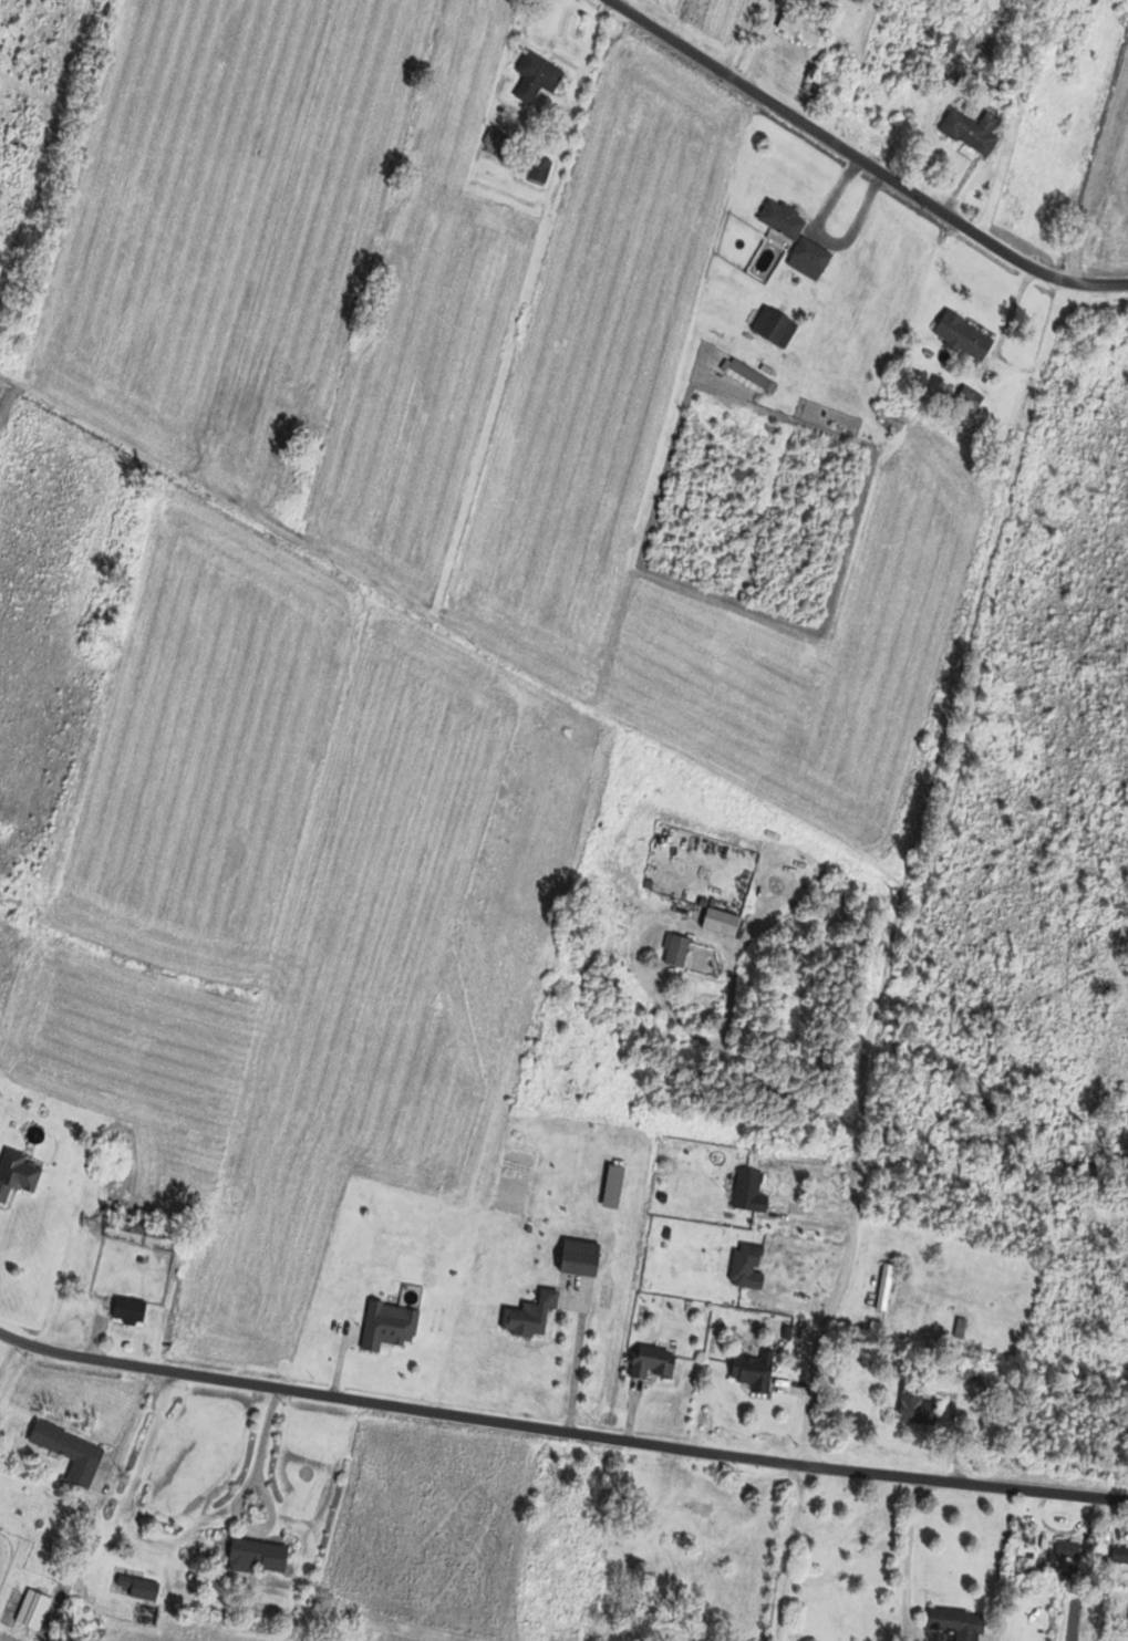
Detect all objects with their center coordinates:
building: (537, 76)
building: (824, 84)
building: (971, 131)
building: (498, 145)
road: (861, 160)
building: (536, 168)
road: (1100, 177)
building: (783, 219)
building: (809, 260)
building: (958, 339)
crop: (472, 367)
building: (722, 921)
building: (677, 949)
road: (749, 1069)
building: (17, 1173)
building: (613, 1186)
building: (133, 1232)
building: (582, 1257)
building: (747, 1266)
building: (880, 1288)
building: (130, 1309)
building: (530, 1316)
building: (390, 1325)
road: (4, 1343)
building: (654, 1361)
building: (752, 1367)
road: (832, 1378)
building: (910, 1406)
road: (560, 1430)
building: (71, 1452)
road: (238, 1497)
building: (689, 1507)
building: (1063, 1551)
building: (259, 1555)
building: (1118, 1558)
building: (137, 1587)
road: (1072, 1614)
building: (951, 1624)
building: (1126, 1624)
building: (550, 1632)

